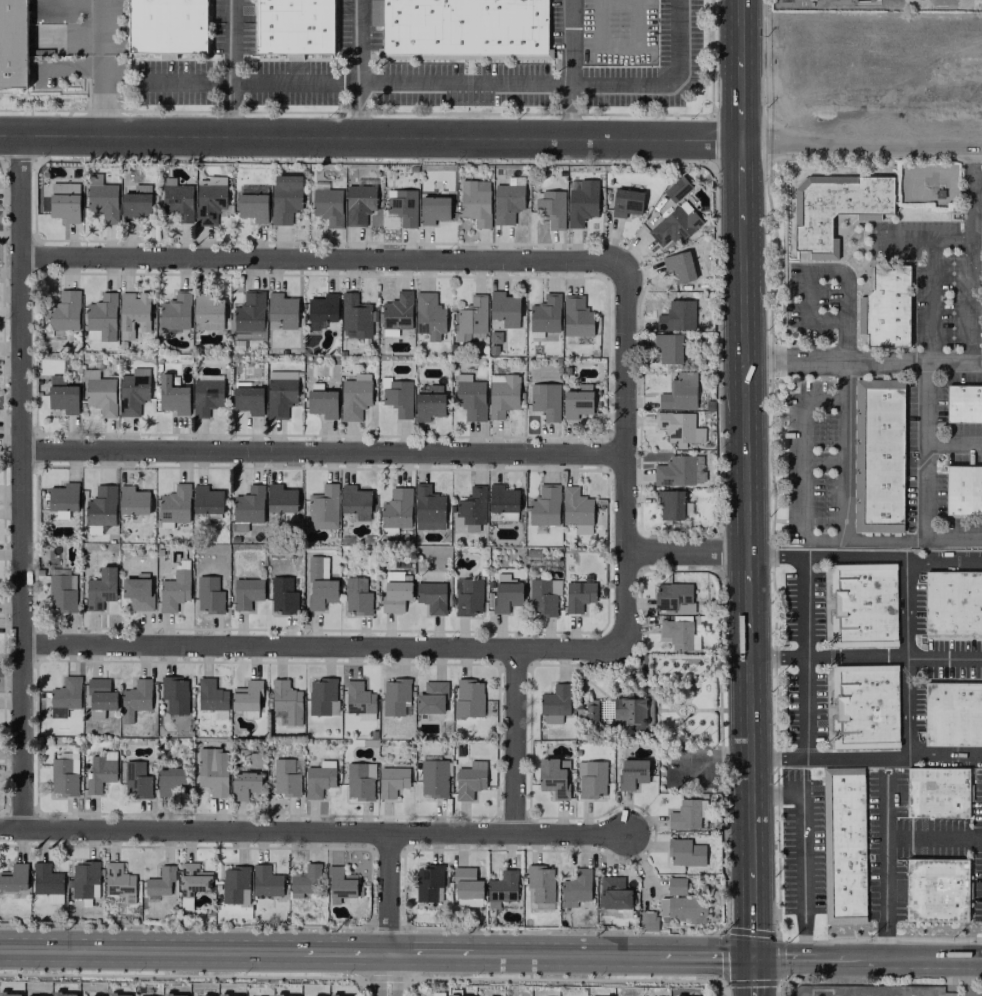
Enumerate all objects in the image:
building: (376, 12)
building: (166, 26)
building: (294, 26)
road: (739, 27)
building: (464, 28)
building: (14, 43)
road: (101, 69)
road: (231, 70)
road: (357, 70)
road: (571, 70)
road: (449, 84)
road: (739, 97)
road: (369, 140)
road: (860, 144)
road: (976, 180)
road: (739, 182)
building: (676, 188)
building: (285, 198)
building: (177, 200)
building: (102, 201)
building: (210, 201)
building: (507, 201)
building: (581, 201)
building: (64, 202)
building: (475, 202)
building: (136, 203)
building: (626, 203)
building: (359, 204)
building: (328, 206)
building: (402, 206)
building: (252, 207)
building: (836, 207)
building: (552, 208)
building: (433, 210)
building: (675, 225)
road: (969, 253)
road: (322, 261)
building: (679, 266)
road: (975, 270)
road: (827, 273)
road: (935, 300)
building: (885, 307)
building: (504, 309)
building: (282, 310)
building: (322, 310)
building: (176, 312)
building: (208, 312)
building: (133, 313)
building: (250, 313)
building: (64, 314)
building: (397, 314)
building: (428, 314)
building: (545, 315)
building: (677, 316)
building: (355, 317)
building: (576, 317)
building: (101, 318)
building: (471, 318)
building: (668, 348)
road: (861, 360)
road: (742, 389)
building: (679, 392)
building: (100, 394)
building: (132, 394)
building: (502, 394)
building: (62, 395)
building: (173, 396)
building: (354, 396)
building: (397, 396)
building: (206, 397)
building: (280, 397)
building: (470, 397)
building: (247, 399)
building: (545, 400)
building: (322, 401)
building: (577, 402)
building: (429, 403)
building: (964, 404)
road: (624, 410)
road: (955, 447)
road: (928, 450)
road: (323, 454)
building: (878, 455)
building: (679, 471)
road: (23, 486)
building: (964, 489)
building: (63, 499)
building: (281, 499)
building: (207, 500)
building: (133, 501)
building: (356, 502)
building: (503, 502)
building: (670, 505)
building: (101, 506)
building: (174, 506)
building: (544, 506)
building: (323, 507)
building: (428, 508)
building: (247, 509)
building: (470, 510)
building: (576, 510)
building: (396, 511)
road: (845, 518)
road: (904, 558)
road: (942, 564)
building: (319, 584)
building: (174, 588)
building: (100, 589)
building: (62, 590)
building: (395, 591)
road: (746, 591)
building: (137, 593)
building: (246, 593)
building: (506, 594)
building: (209, 595)
building: (282, 595)
building: (357, 596)
building: (578, 596)
building: (432, 597)
building: (543, 597)
building: (469, 598)
building: (674, 598)
building: (953, 603)
building: (863, 605)
road: (806, 627)
building: (679, 634)
road: (432, 650)
road: (944, 659)
building: (66, 694)
building: (173, 695)
building: (323, 697)
building: (396, 697)
building: (100, 698)
building: (247, 698)
building: (431, 698)
building: (468, 698)
building: (135, 699)
building: (286, 701)
building: (360, 701)
building: (555, 704)
road: (907, 705)
building: (864, 707)
building: (342, 708)
building: (591, 710)
building: (633, 711)
building: (953, 714)
road: (515, 743)
road: (749, 746)
road: (945, 755)
building: (212, 771)
building: (632, 773)
building: (64, 775)
building: (286, 777)
building: (553, 777)
building: (433, 778)
building: (318, 779)
building: (591, 779)
building: (470, 780)
building: (136, 781)
building: (170, 781)
building: (359, 781)
building: (392, 781)
building: (244, 785)
building: (936, 792)
road: (776, 796)
building: (687, 814)
road: (496, 815)
road: (311, 834)
road: (933, 835)
building: (843, 845)
building: (685, 853)
road: (884, 870)
road: (803, 872)
building: (14, 878)
building: (85, 880)
building: (304, 881)
building: (119, 882)
building: (161, 882)
building: (265, 882)
building: (47, 883)
building: (192, 883)
building: (430, 883)
building: (340, 884)
building: (235, 885)
building: (540, 885)
building: (676, 886)
building: (467, 887)
building: (502, 888)
building: (576, 888)
building: (936, 889)
road: (389, 890)
building: (613, 893)
building: (683, 909)
road: (752, 910)
building: (648, 921)
road: (150, 945)
road: (345, 946)
road: (431, 947)
road: (565, 950)
road: (705, 954)
traffic signals: (753, 955)
road: (788, 959)
road: (902, 960)
road: (389, 971)
road: (753, 975)
road: (968, 978)
road: (773, 983)
building: (10, 994)
building: (63, 994)
building: (119, 995)
building: (174, 995)
building: (203, 995)
building: (229, 995)
building: (280, 995)
building: (457, 995)

